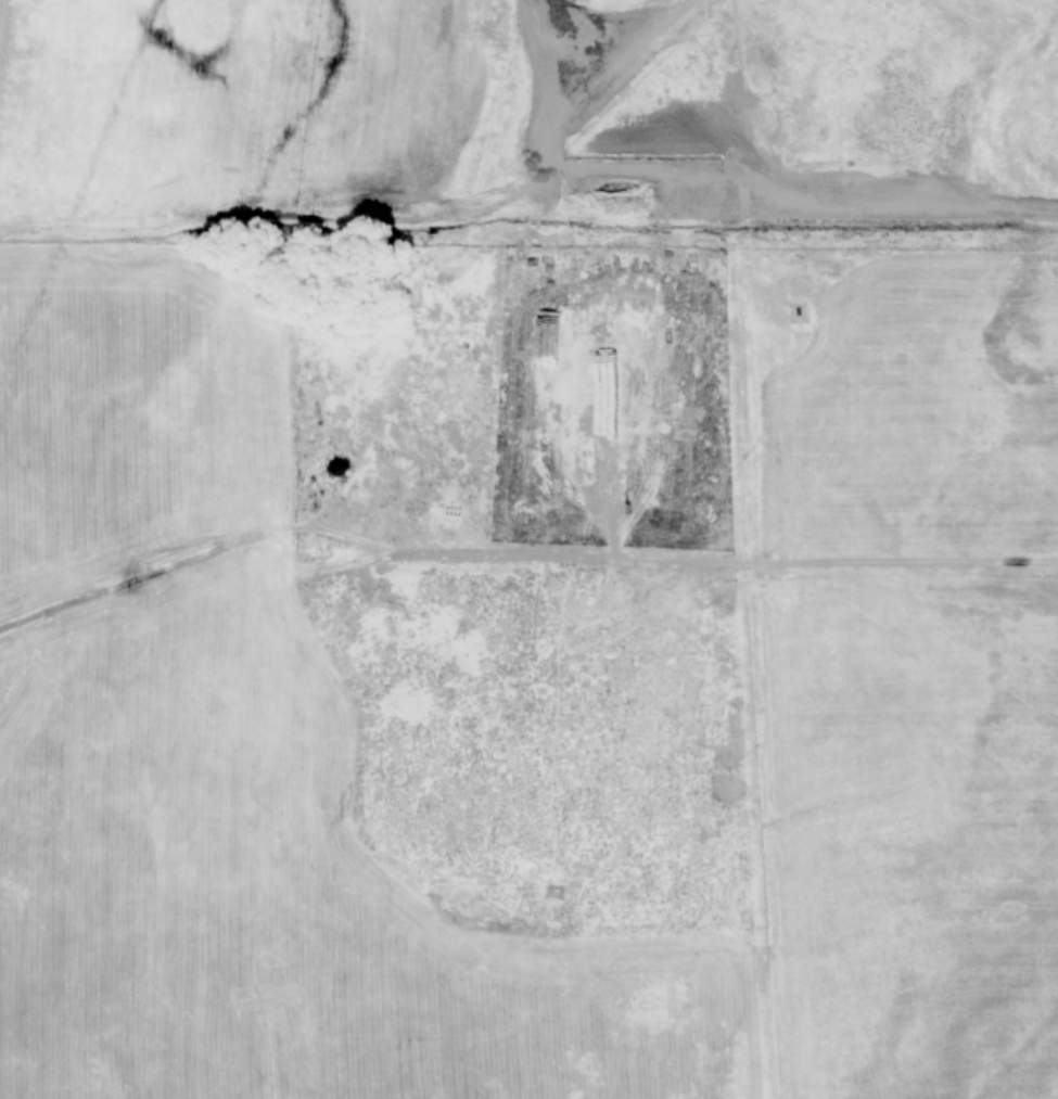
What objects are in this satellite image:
building: (657, 468)
building: (560, 502)
road: (367, 548)
road: (904, 564)

